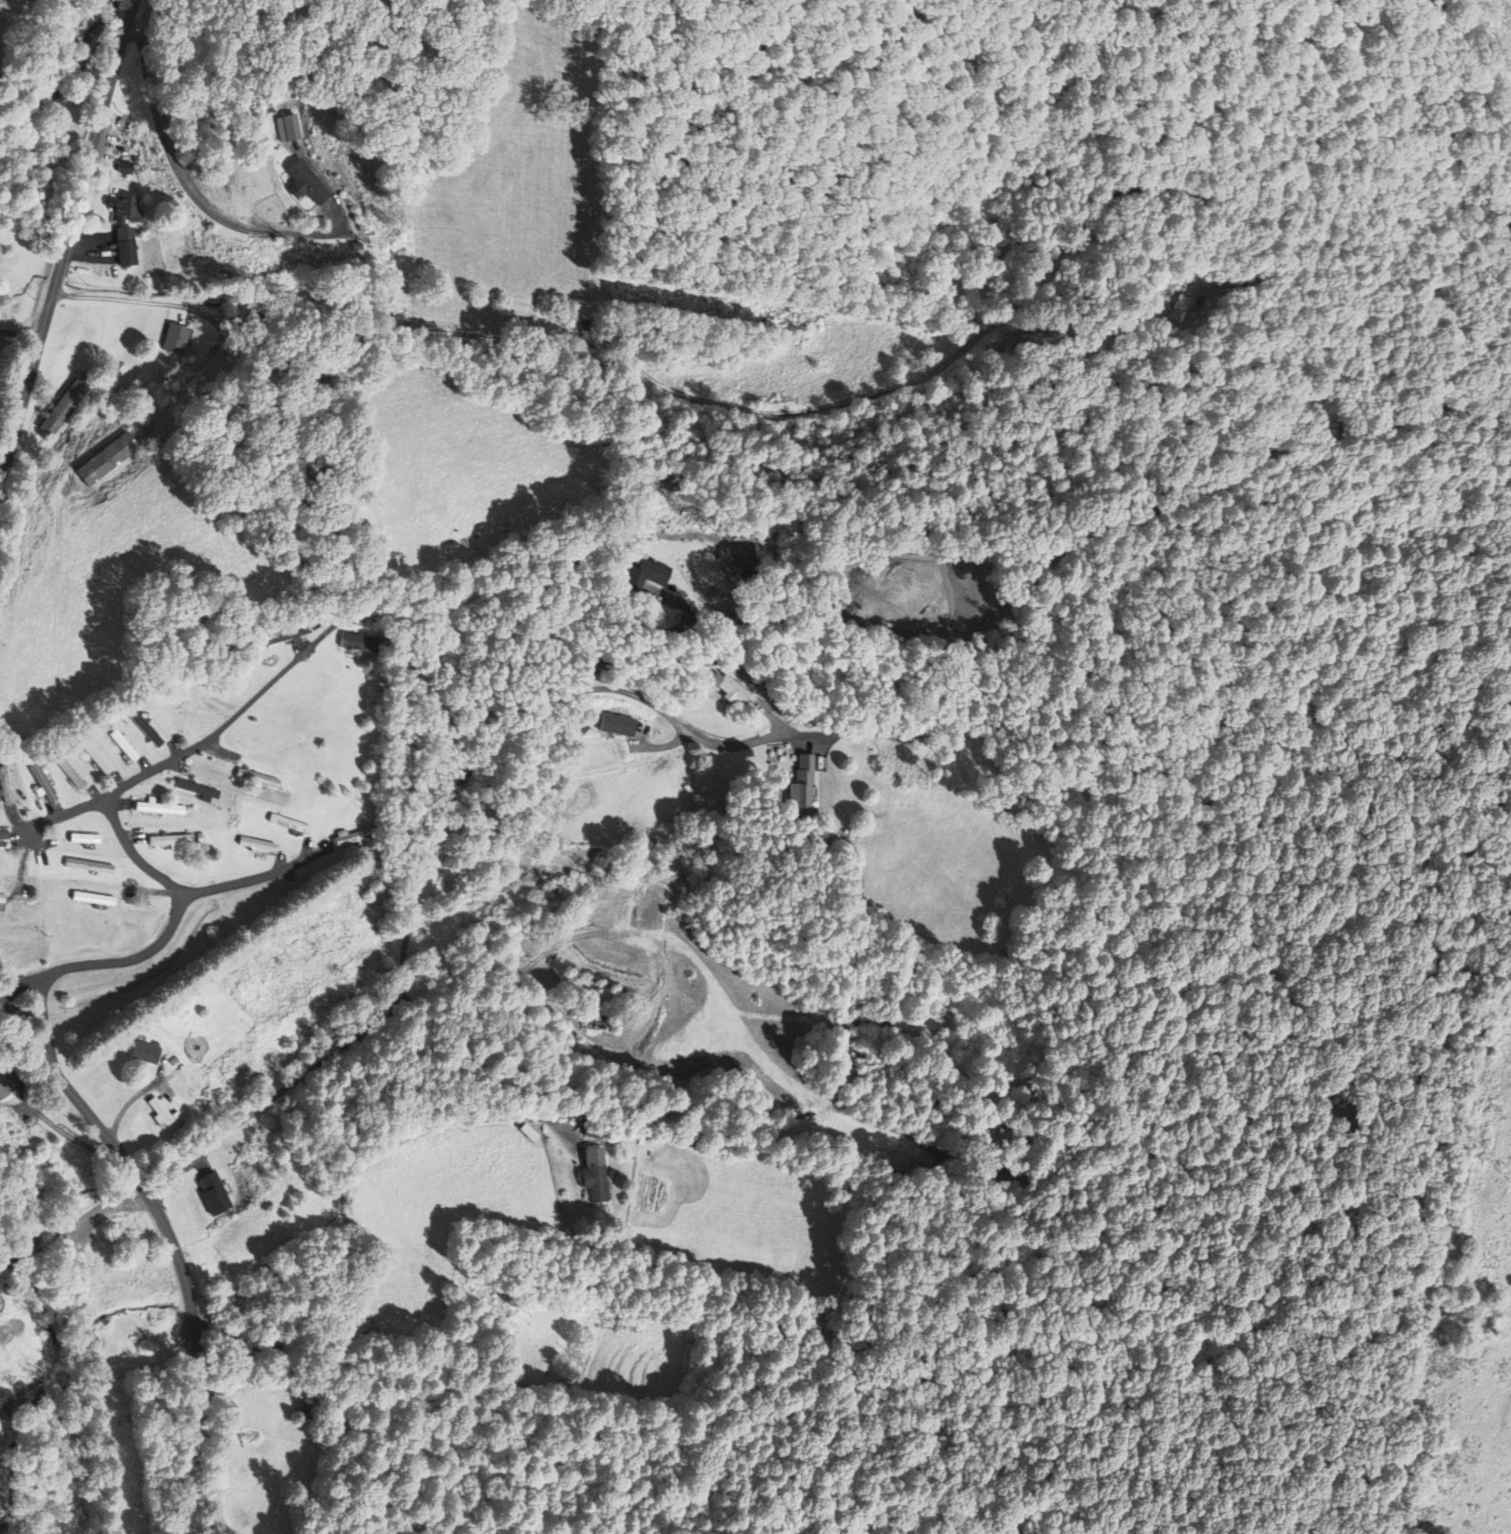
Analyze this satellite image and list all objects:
building: (123, 140)
building: (305, 181)
road: (184, 185)
building: (125, 208)
road: (67, 241)
building: (124, 246)
road: (117, 299)
building: (1184, 307)
building: (576, 324)
road: (22, 331)
building: (173, 338)
building: (63, 407)
building: (108, 458)
building: (644, 573)
building: (356, 642)
building: (725, 689)
building: (617, 723)
building: (142, 729)
building: (119, 746)
road: (656, 747)
building: (89, 754)
road: (169, 761)
building: (64, 771)
building: (255, 778)
building: (40, 783)
building: (801, 783)
building: (193, 790)
building: (156, 809)
building: (287, 824)
building: (2, 837)
building: (355, 837)
building: (81, 839)
building: (166, 841)
road: (133, 853)
building: (86, 866)
road: (427, 867)
road: (223, 884)
building: (90, 899)
road: (102, 962)
building: (596, 1023)
building: (144, 1052)
building: (7, 1083)
building: (161, 1112)
building: (593, 1132)
building: (594, 1184)
building: (214, 1193)
road: (347, 1218)
building: (121, 1237)
road: (173, 1242)
building: (141, 1362)
building: (309, 1409)

